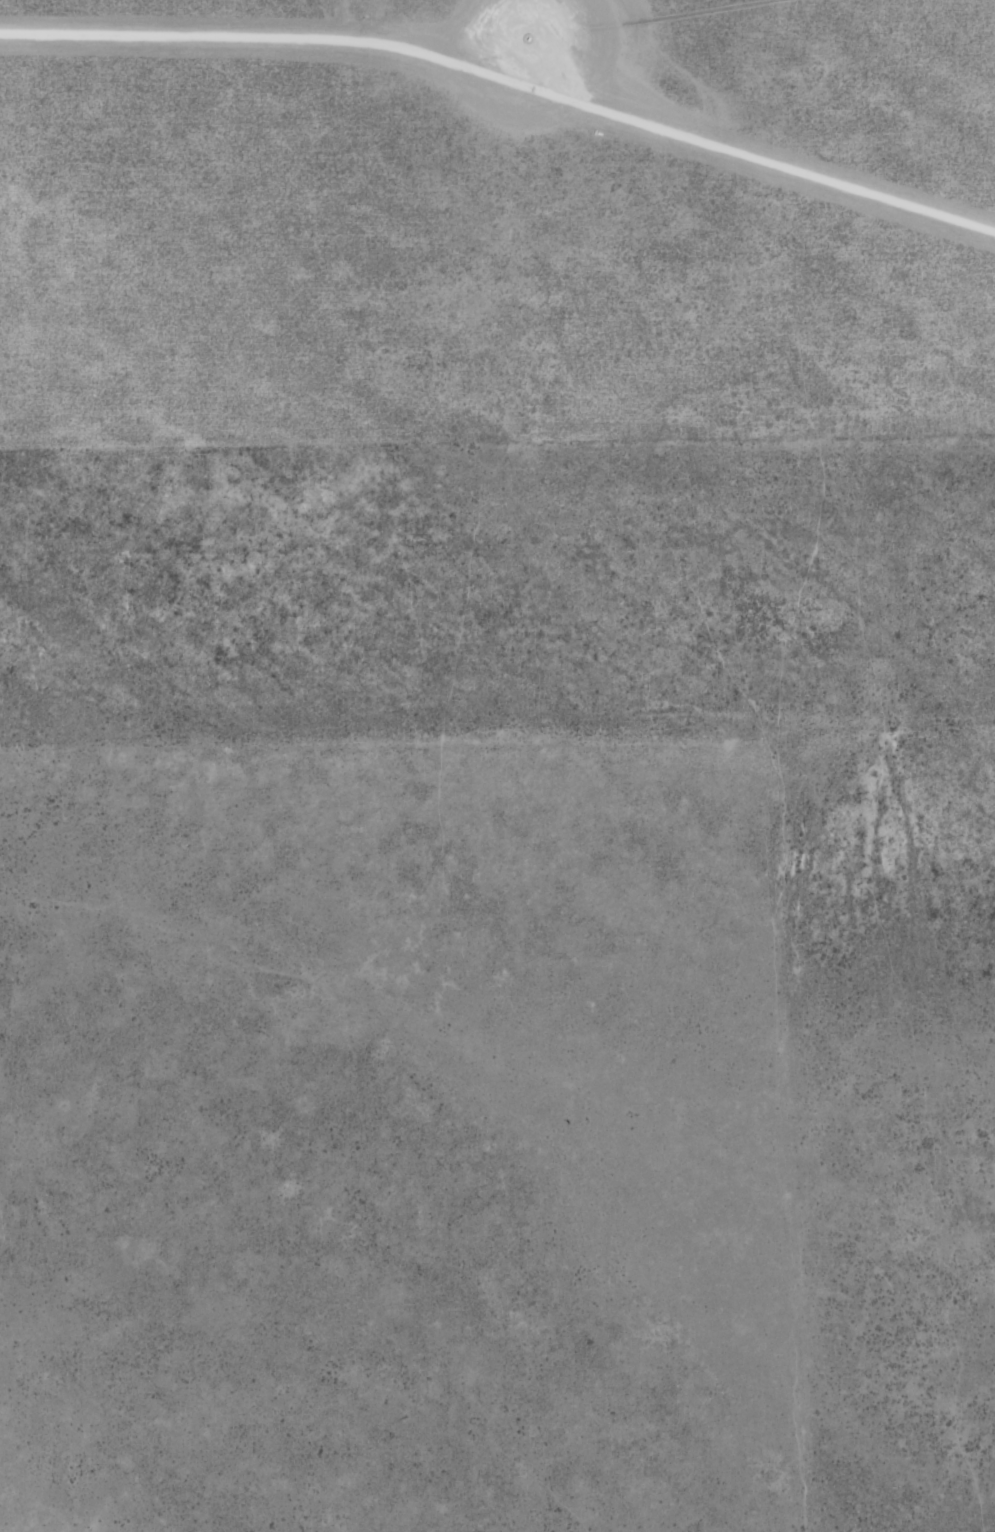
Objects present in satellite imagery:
wind turbine: (517, 35)

